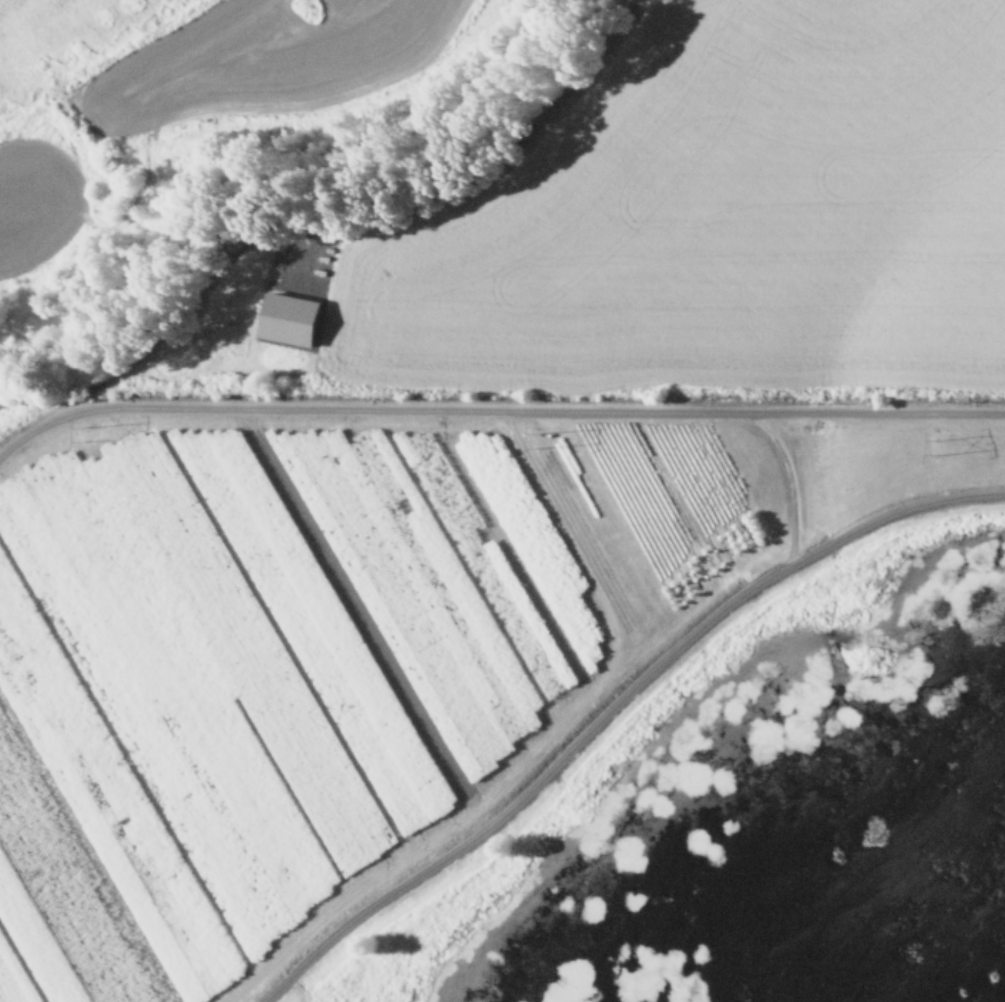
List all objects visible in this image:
crop: (162, 90)
building: (291, 320)
road: (496, 410)
power tower: (85, 429)
power tower: (544, 438)
power tower: (935, 444)
road: (787, 476)
crop: (551, 565)
road: (605, 703)

